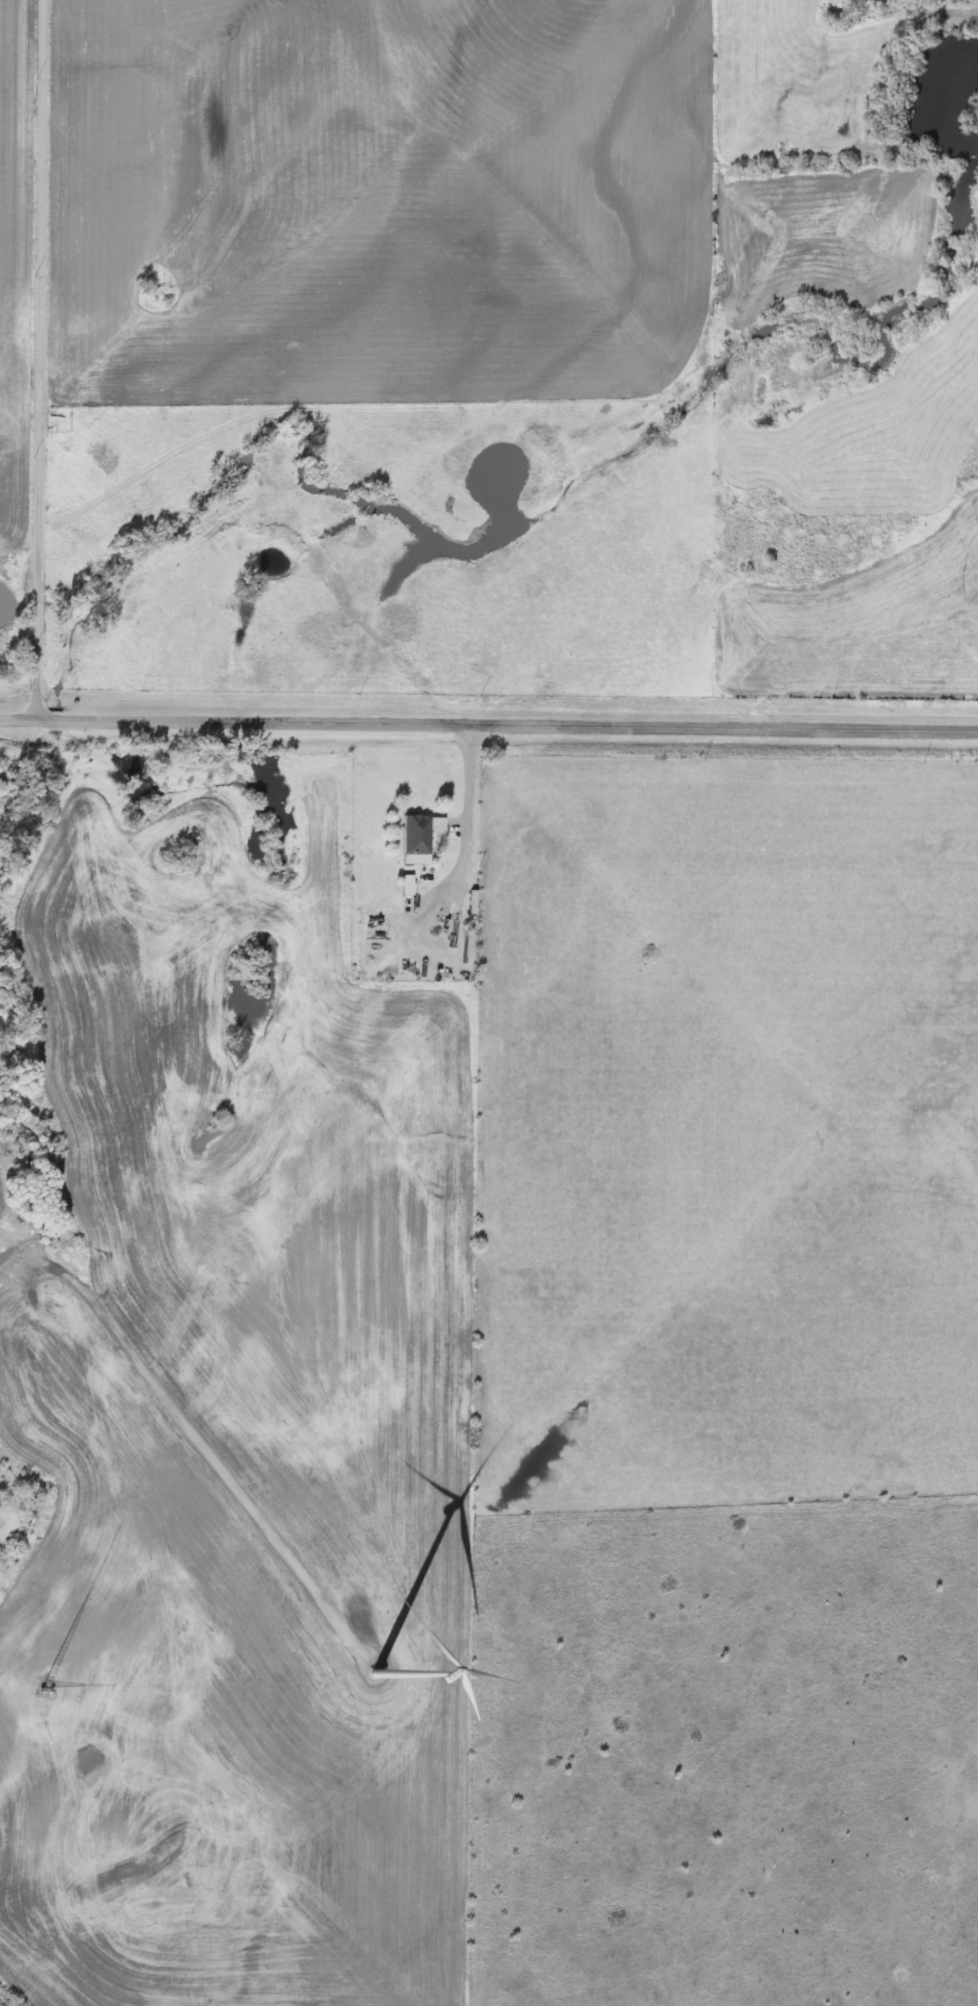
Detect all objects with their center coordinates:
road: (78, 358)
road: (488, 723)
building: (416, 837)
building: (380, 961)
wind turbine: (378, 1673)

